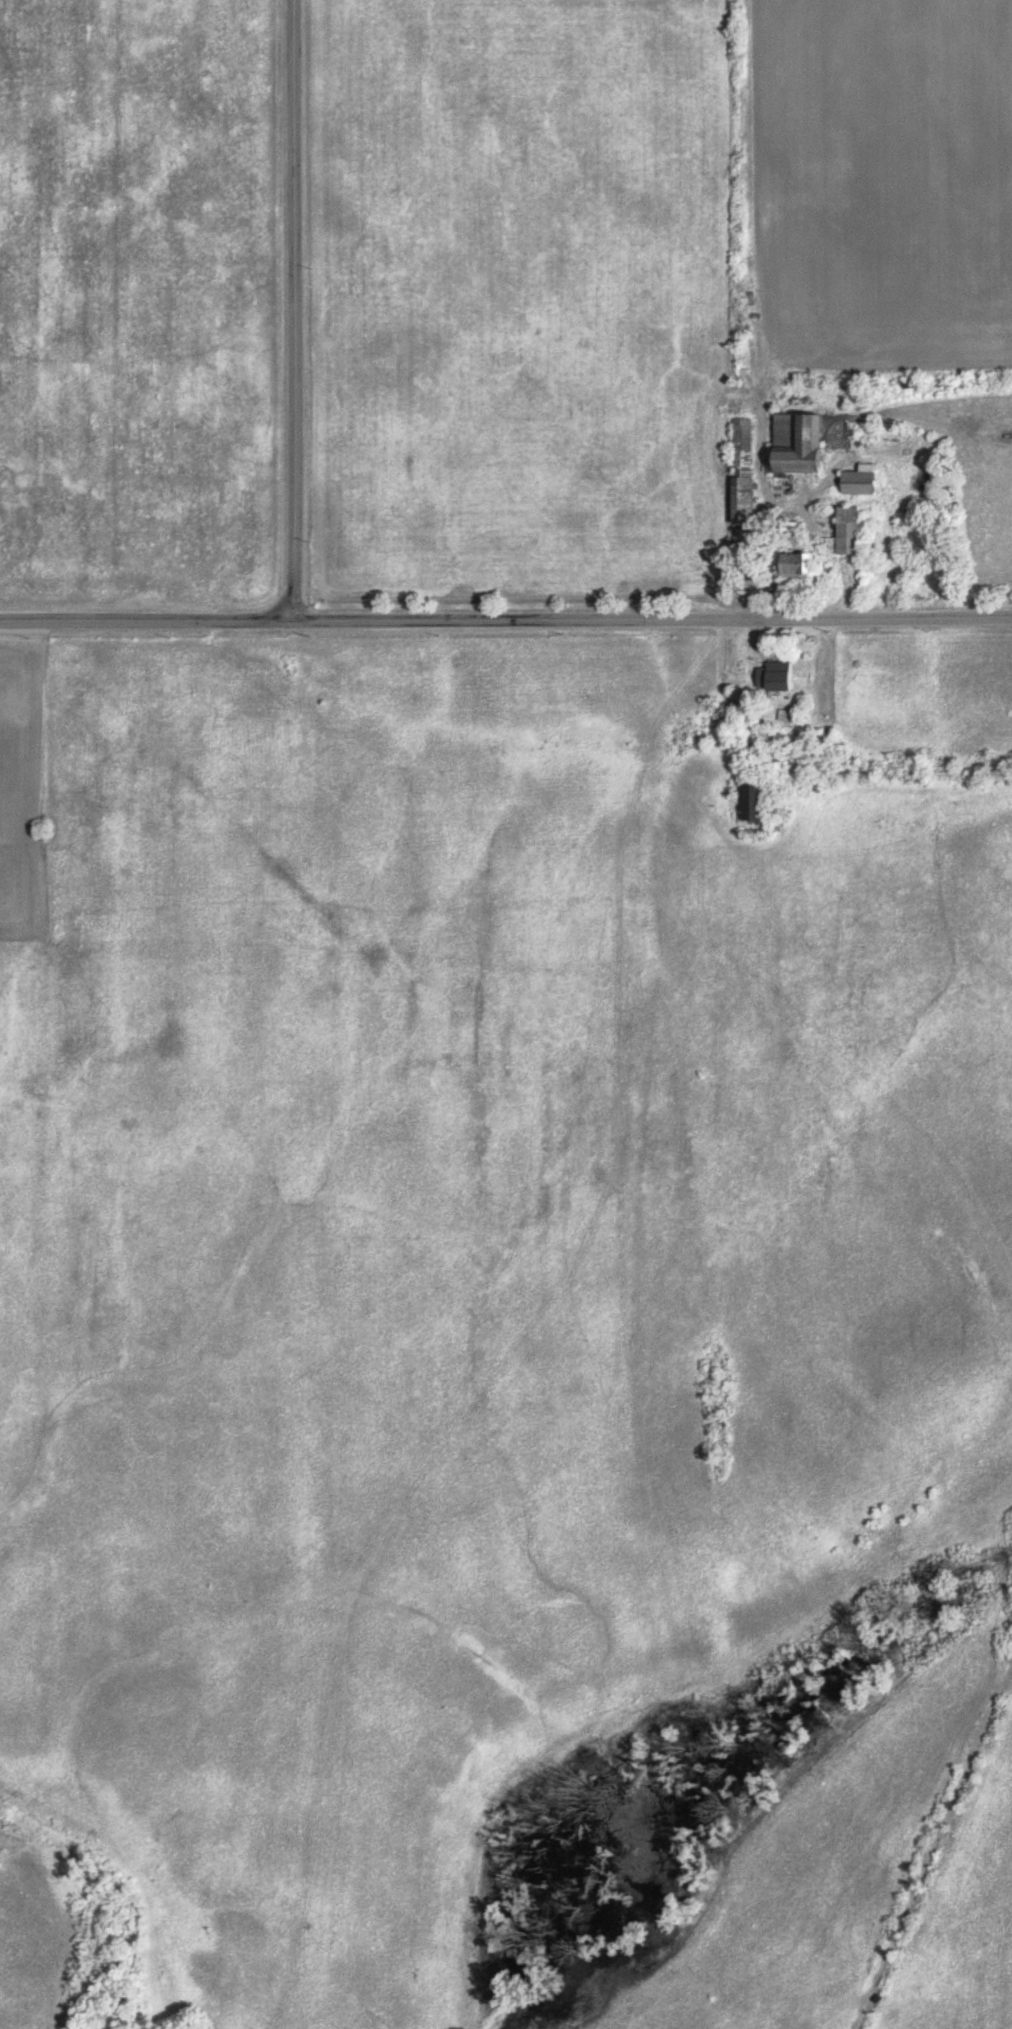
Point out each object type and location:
crop: (885, 176)
crop: (514, 295)
road: (287, 311)
road: (144, 624)
road: (650, 624)
crop: (928, 698)
crop: (969, 1926)

